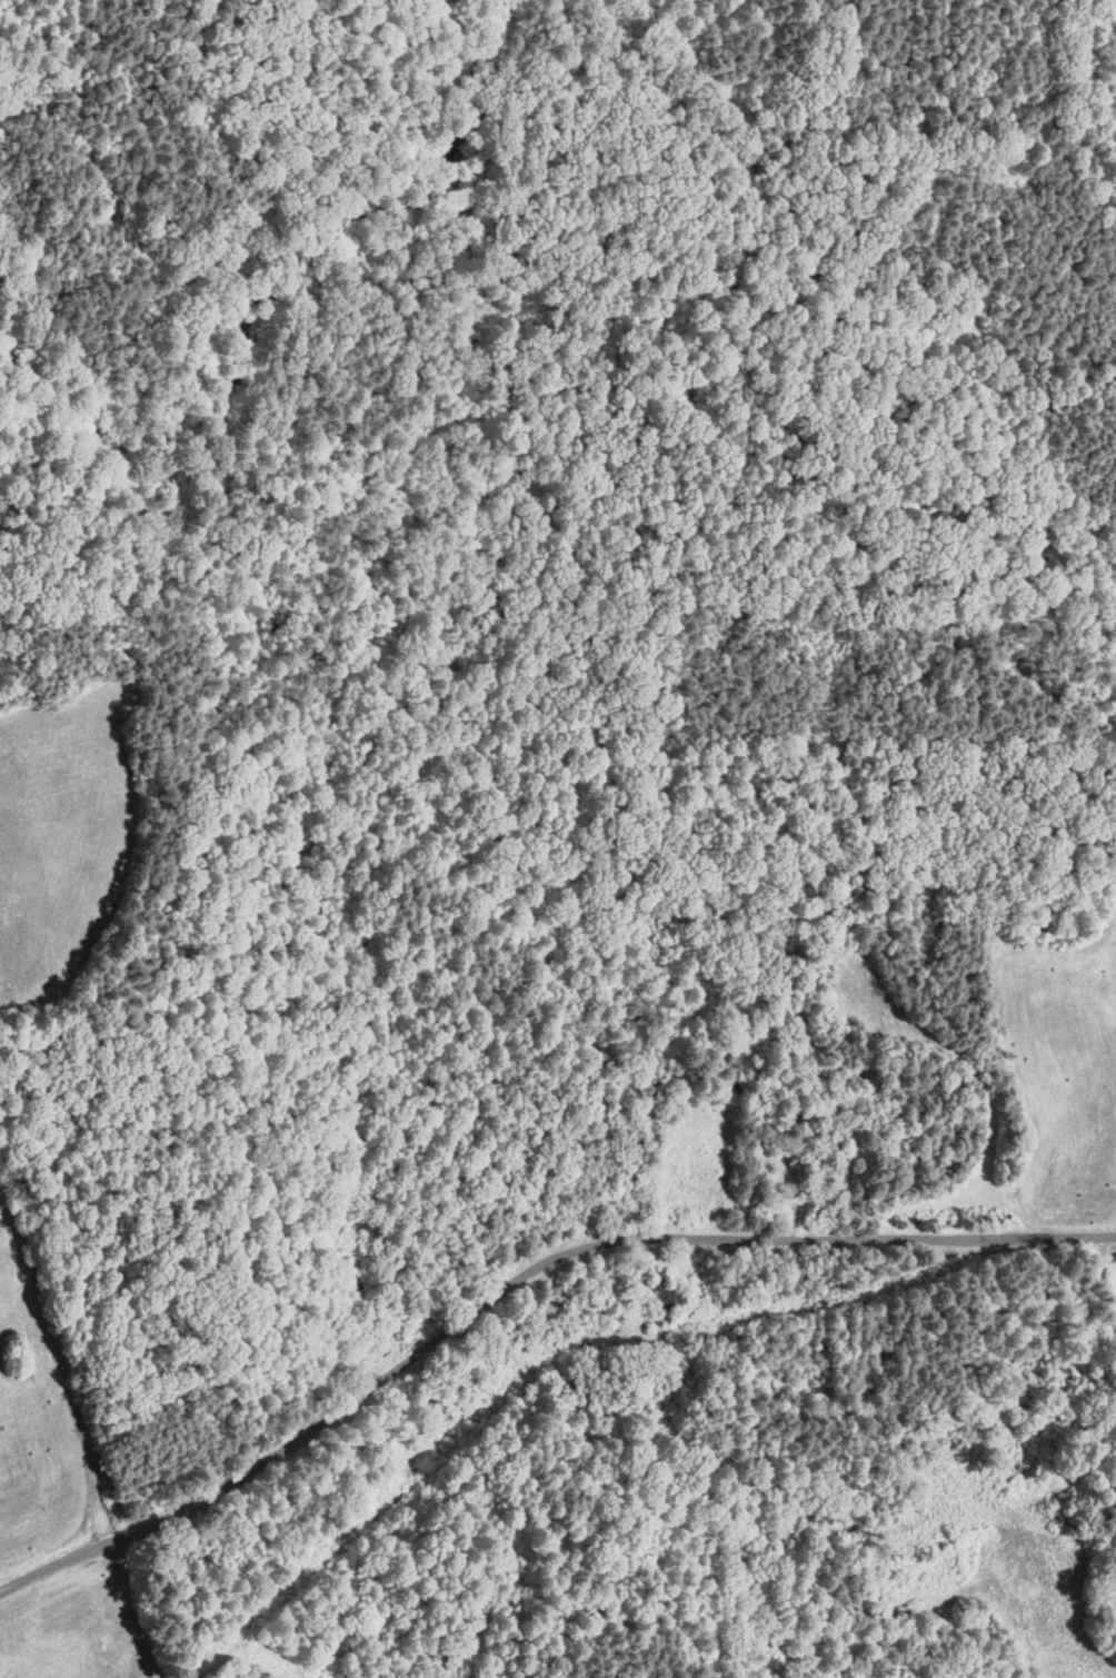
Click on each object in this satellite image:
road: (517, 1280)

